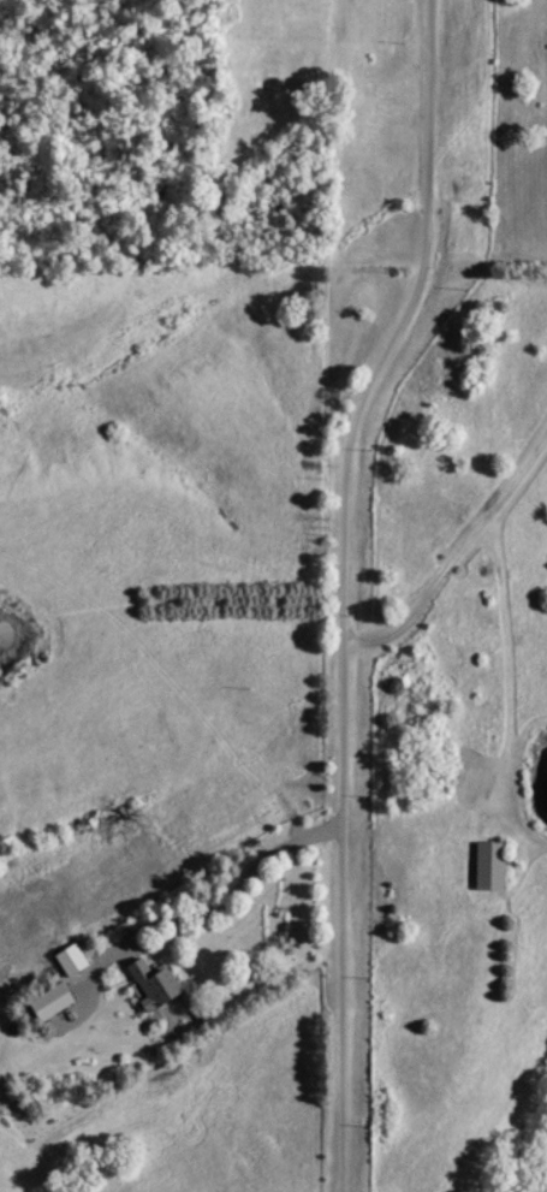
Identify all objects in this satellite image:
road: (457, 552)
road: (343, 587)
building: (486, 865)
road: (218, 912)
building: (161, 985)
building: (58, 1001)

